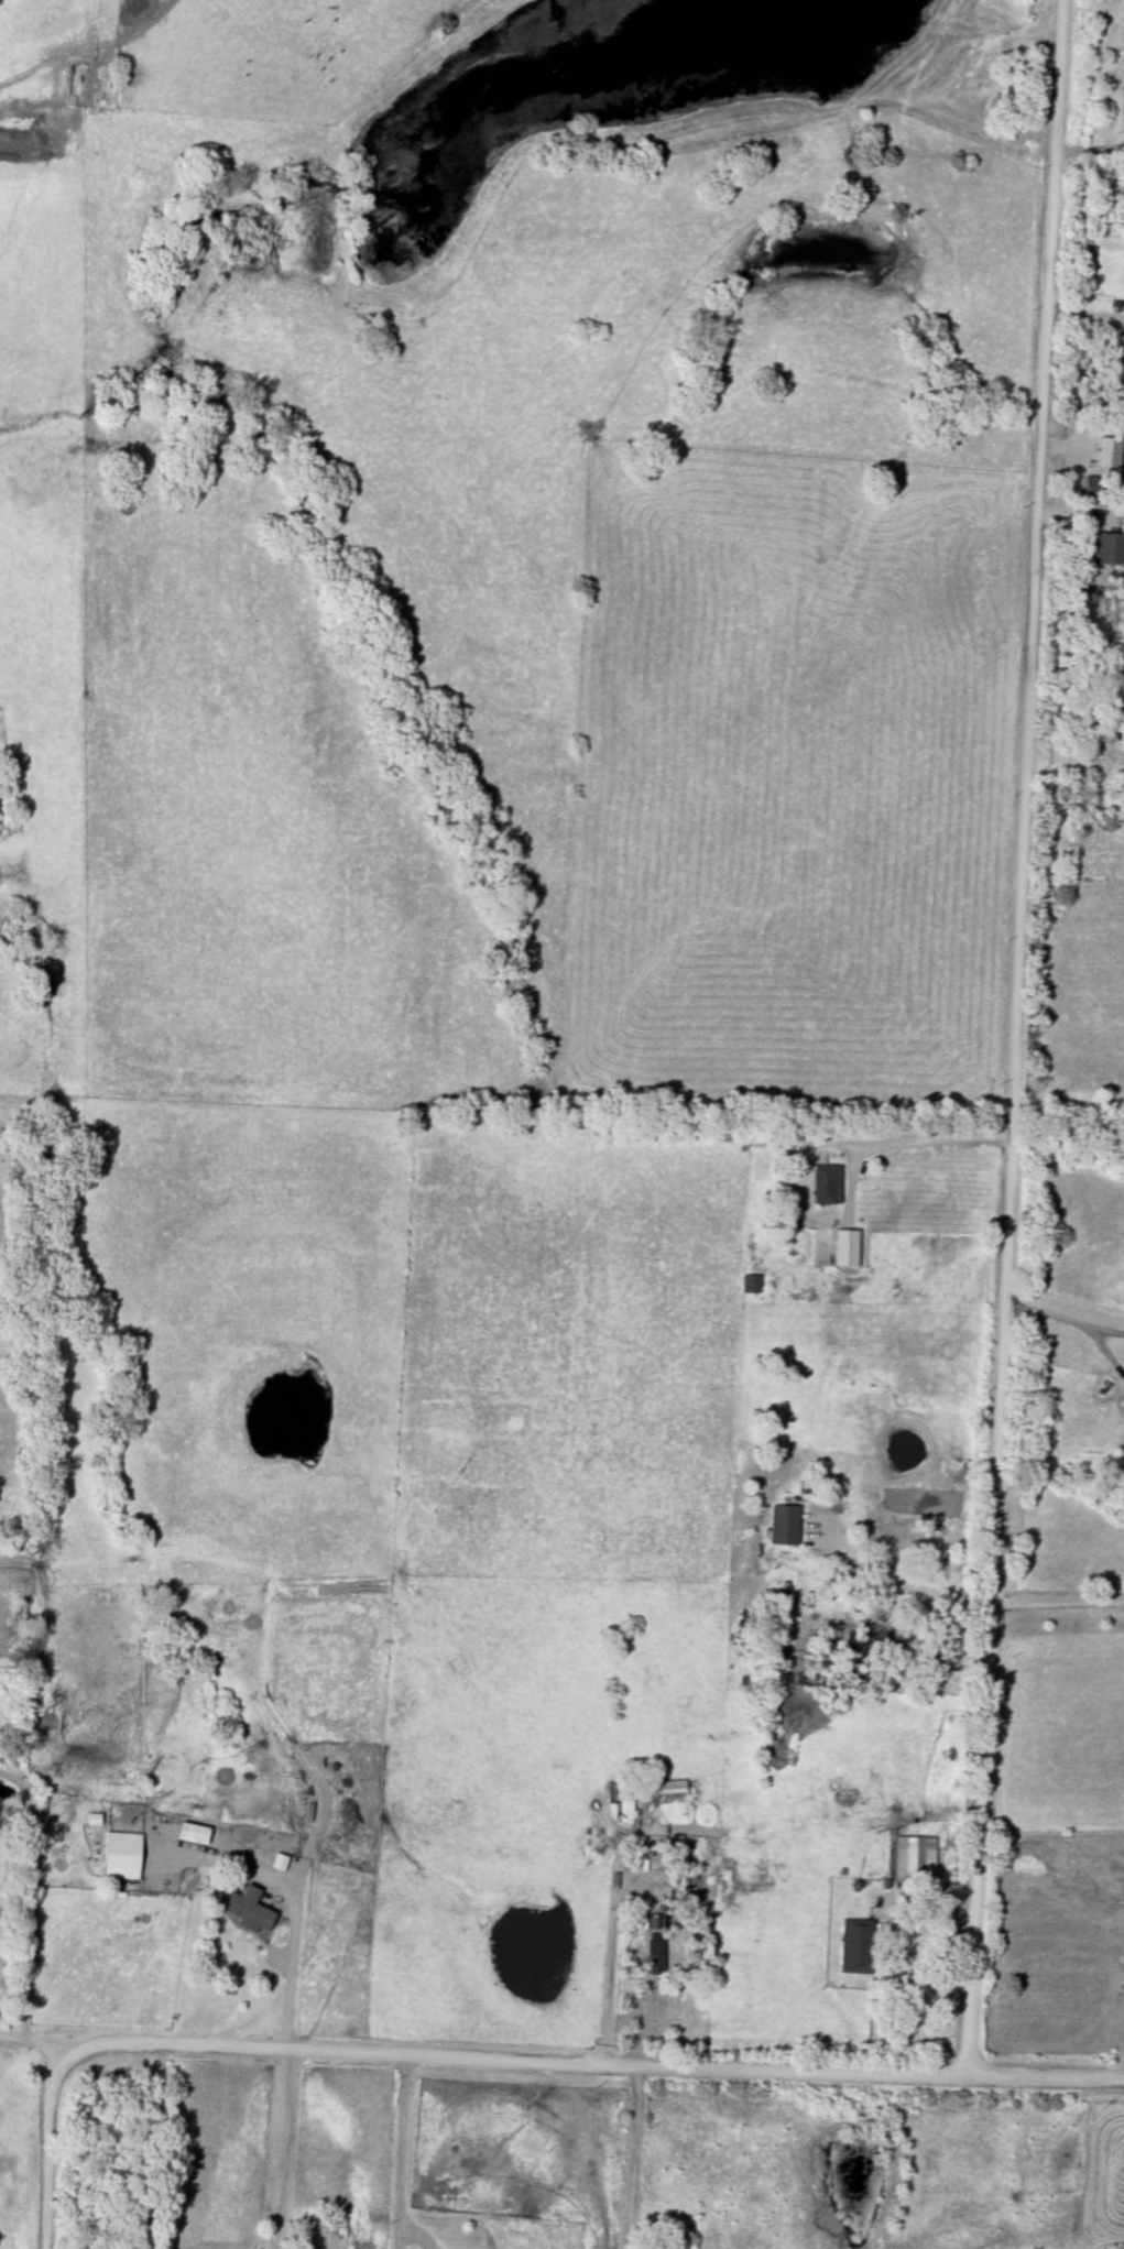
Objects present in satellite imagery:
building: (1096, 491)
building: (1110, 549)
building: (1122, 733)
road: (1016, 1038)
road: (926, 1140)
building: (828, 1184)
building: (848, 1248)
building: (752, 1284)
road: (1065, 1319)
building: (786, 1525)
road: (899, 1583)
road: (1059, 1605)
building: (652, 1790)
building: (194, 1834)
building: (123, 1857)
building: (915, 1862)
building: (250, 1909)
road: (29, 1919)
building: (656, 1946)
building: (858, 1946)
road: (608, 1952)
road: (287, 1972)
road: (18, 2038)
road: (601, 2065)
road: (47, 2141)
road: (288, 2150)
road: (629, 2158)
road: (399, 2162)

